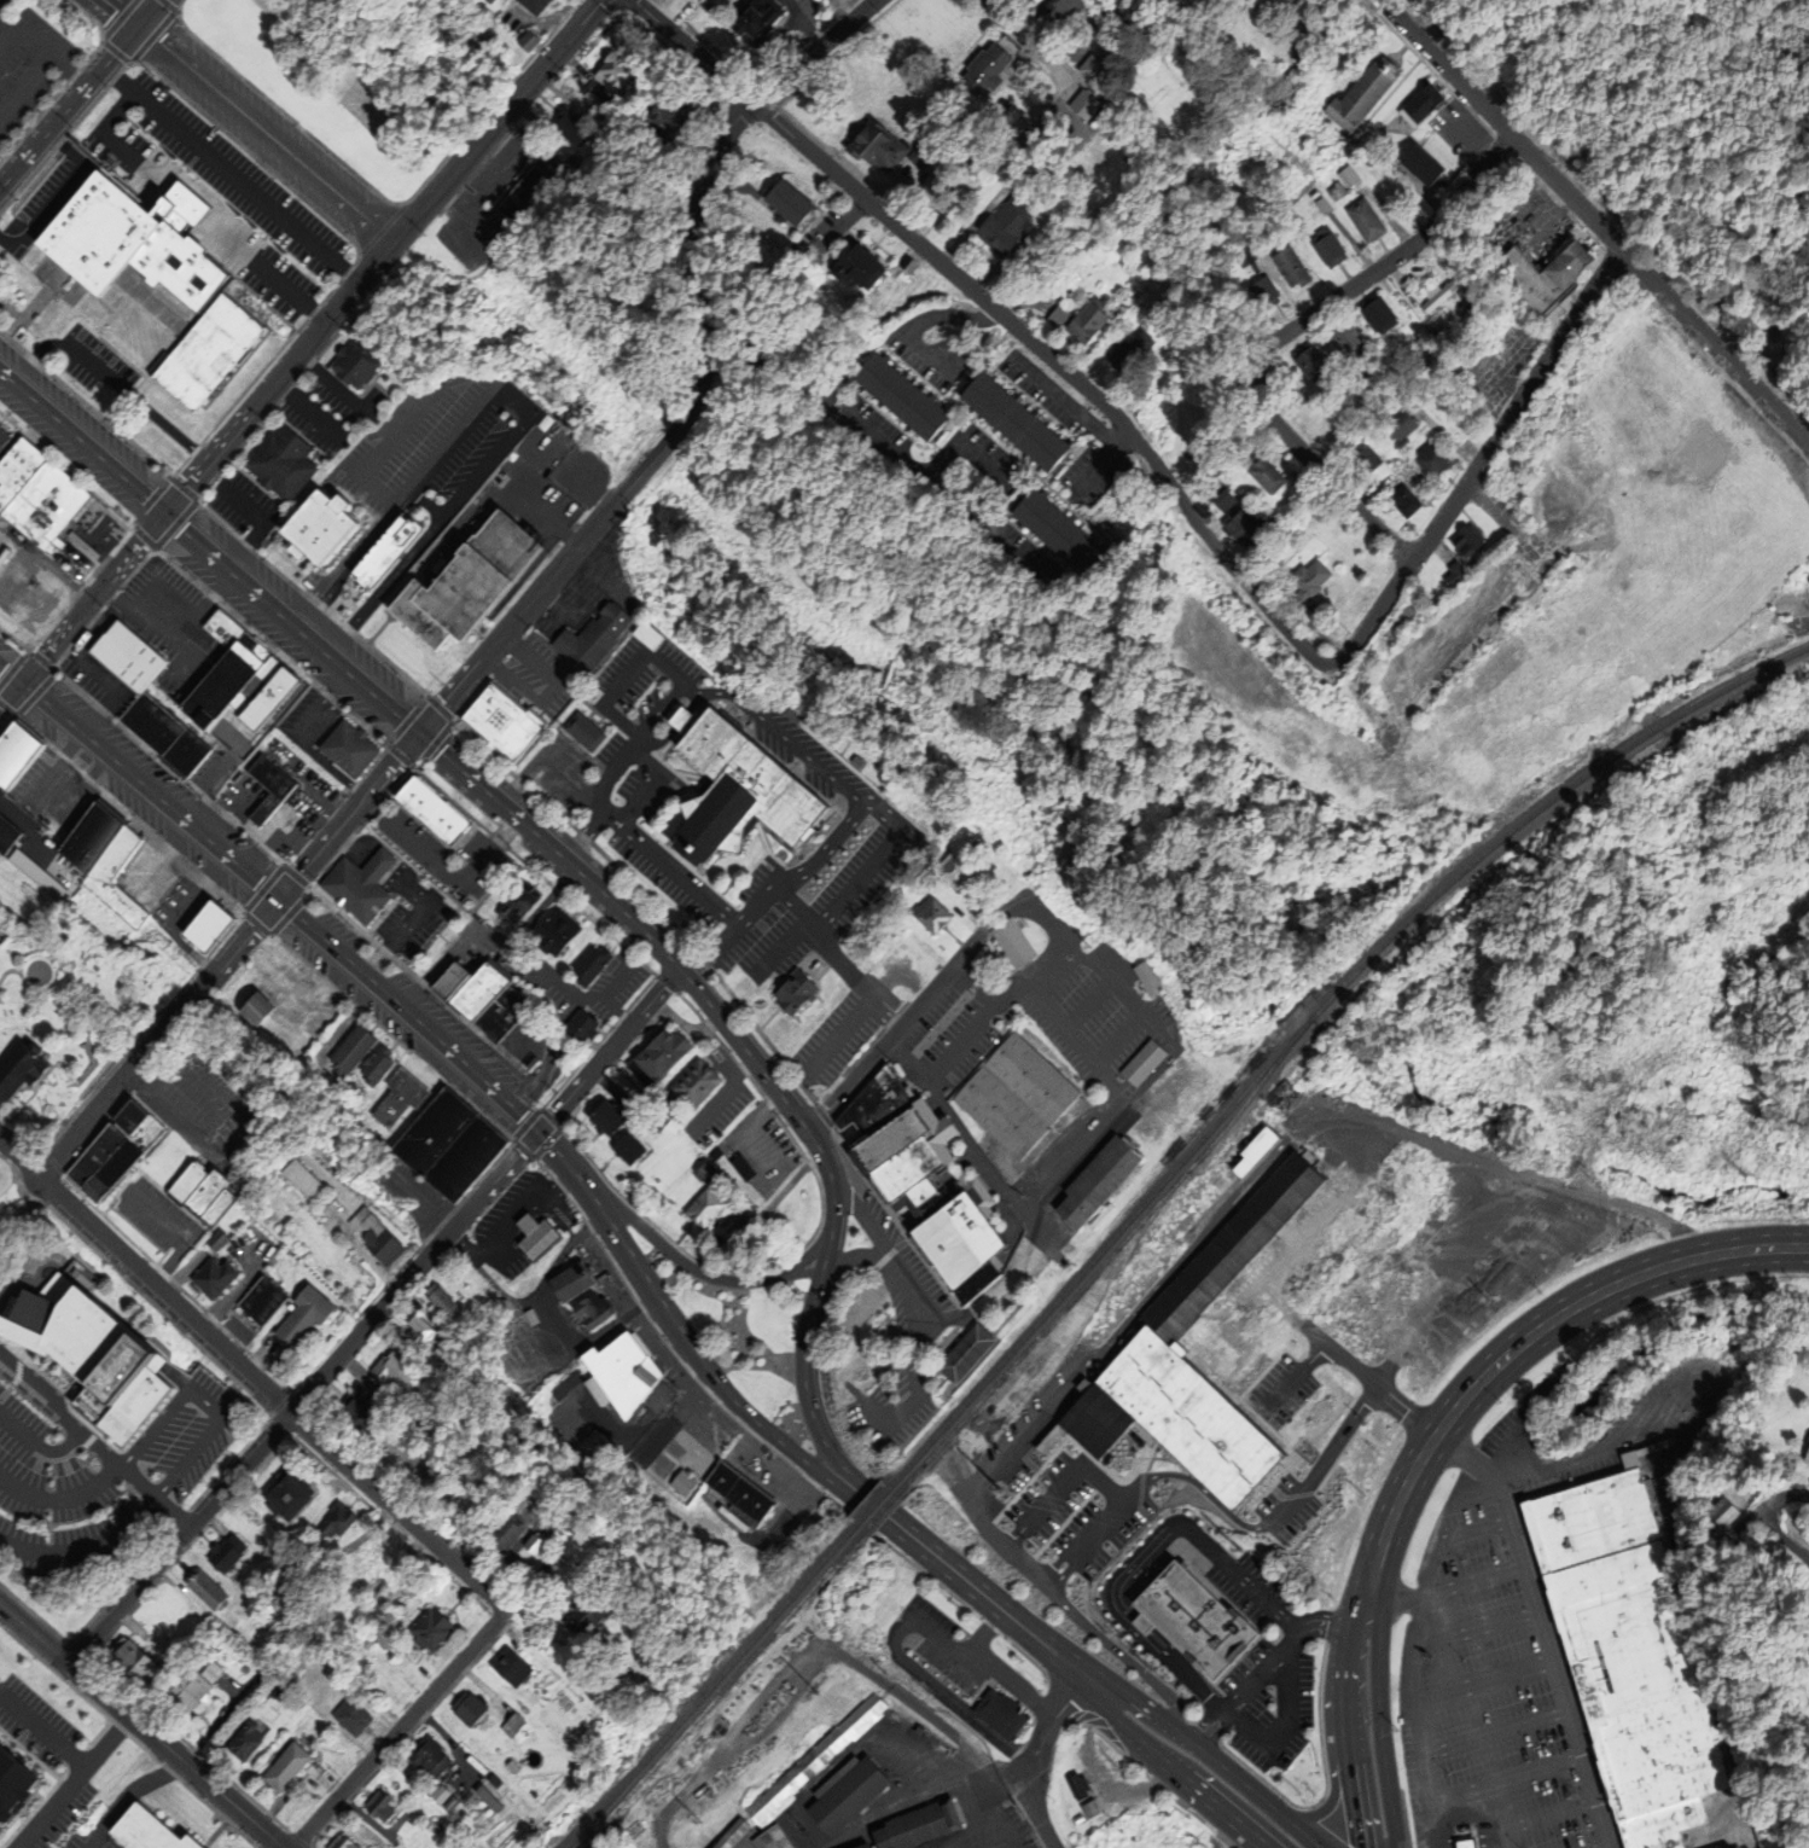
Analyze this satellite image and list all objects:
parking lot: (1, 1)
building: (527, 6)
building: (1060, 8)
building: (752, 22)
traffic signals: (135, 30)
road: (1, 36)
road: (1023, 39)
building: (523, 41)
road: (809, 51)
road: (41, 52)
parking lot: (27, 65)
building: (612, 66)
building: (983, 68)
building: (1088, 71)
road: (23, 82)
road: (80, 92)
building: (1360, 93)
building: (1418, 106)
building: (665, 107)
road: (495, 120)
road: (244, 121)
road: (1499, 124)
building: (565, 127)
building: (872, 149)
building: (1417, 167)
road: (229, 175)
road: (57, 194)
parking lot: (215, 196)
building: (518, 196)
parking lot: (45, 199)
building: (781, 201)
road: (191, 211)
building: (1361, 221)
building: (1000, 226)
building: (128, 243)
building: (1324, 250)
road: (1386, 262)
building: (853, 266)
building: (1287, 269)
building: (1537, 277)
road: (130, 284)
building: (1260, 295)
building: (1373, 315)
road: (1000, 316)
building: (1081, 322)
building: (1342, 341)
road: (1712, 347)
road: (35, 350)
building: (205, 351)
road: (71, 354)
building: (1123, 354)
building: (349, 362)
building: (1307, 365)
parking lot: (98, 371)
road: (97, 372)
road: (278, 377)
building: (896, 395)
building: (1008, 420)
road: (164, 426)
building: (1395, 426)
building: (4, 441)
road: (659, 447)
road: (880, 451)
building: (1359, 453)
building: (278, 459)
building: (1426, 460)
road: (1473, 463)
road: (1322, 472)
building: (1258, 473)
building: (19, 476)
building: (1217, 499)
building: (1401, 501)
building: (48, 509)
road: (389, 511)
traffic signals: (164, 512)
road: (263, 524)
building: (1238, 527)
building: (318, 528)
building: (1051, 530)
building: (1462, 539)
building: (384, 551)
building: (1450, 574)
building: (1305, 577)
building: (465, 583)
road: (93, 598)
building: (588, 630)
building: (644, 634)
building: (122, 644)
building: (221, 658)
building: (251, 679)
traffic signals: (22, 685)
road: (11, 697)
building: (267, 697)
building: (499, 713)
building: (151, 722)
building: (580, 730)
traffic signals: (415, 733)
road: (420, 737)
building: (12, 738)
building: (347, 739)
road: (789, 739)
building: (185, 752)
road: (547, 762)
building: (725, 778)
building: (267, 789)
building: (426, 800)
road: (347, 815)
building: (81, 824)
building: (6, 836)
building: (13, 859)
building: (106, 866)
road: (450, 867)
building: (948, 868)
road: (668, 870)
building: (355, 877)
road: (273, 894)
traffic signals: (278, 899)
building: (519, 905)
building: (924, 914)
building: (208, 926)
building: (556, 934)
building: (1014, 945)
building: (591, 966)
road: (1025, 974)
building: (1147, 980)
building: (450, 981)
building: (240, 989)
building: (476, 989)
building: (790, 990)
road: (1127, 994)
road: (1088, 1005)
building: (255, 1013)
building: (502, 1013)
railway: (1307, 1018)
building: (580, 1029)
parking lot: (840, 1030)
road: (838, 1031)
road: (889, 1035)
road: (157, 1036)
building: (295, 1044)
building: (348, 1048)
road: (605, 1051)
building: (659, 1058)
building: (1145, 1064)
building: (372, 1065)
building: (17, 1068)
building: (694, 1086)
building: (395, 1097)
building: (1018, 1098)
building: (659, 1115)
building: (606, 1120)
building: (432, 1132)
traffic signals: (536, 1132)
road: (547, 1143)
road: (969, 1143)
building: (628, 1150)
building: (114, 1152)
building: (464, 1158)
road: (1069, 1162)
building: (744, 1169)
building: (295, 1172)
building: (706, 1174)
building: (181, 1182)
building: (924, 1182)
building: (1099, 1182)
building: (199, 1193)
road: (830, 1199)
building: (213, 1208)
building: (704, 1211)
building: (530, 1224)
building: (373, 1233)
building: (210, 1239)
road: (882, 1249)
railway: (1101, 1265)
building: (209, 1266)
road: (686, 1267)
road: (793, 1277)
building: (568, 1282)
building: (435, 1289)
building: (256, 1291)
building: (437, 1301)
building: (297, 1304)
building: (587, 1308)
building: (414, 1325)
building: (1216, 1331)
river: (1660, 1336)
building: (966, 1354)
road: (912, 1356)
building: (91, 1358)
road: (699, 1360)
building: (617, 1362)
building: (390, 1365)
road: (248, 1371)
road: (302, 1397)
road: (204, 1402)
building: (354, 1407)
road: (807, 1407)
road: (1438, 1434)
road: (37, 1445)
road: (94, 1445)
building: (1802, 1451)
building: (588, 1455)
building: (679, 1480)
building: (734, 1482)
building: (280, 1494)
road: (62, 1497)
road: (1792, 1497)
building: (465, 1507)
railway: (874, 1507)
building: (1716, 1511)
railway: (882, 1513)
building: (331, 1522)
road: (991, 1530)
road: (1471, 1532)
building: (500, 1533)
road: (1781, 1538)
building: (530, 1544)
road: (86, 1548)
building: (222, 1553)
road: (1234, 1571)
road: (1474, 1581)
building: (200, 1591)
road: (982, 1597)
parking lot: (1532, 1615)
building: (581, 1616)
building: (1188, 1619)
road: (1128, 1626)
road: (1485, 1627)
road: (1542, 1628)
building: (427, 1631)
river: (1495, 1631)
road: (1431, 1632)
building: (210, 1655)
building: (1633, 1657)
road: (1268, 1662)
building: (127, 1664)
building: (505, 1667)
building: (207, 1673)
road: (1488, 1680)
railway: (714, 1687)
building: (1808, 1689)
building: (273, 1690)
railway: (725, 1690)
building: (184, 1692)
road: (1144, 1707)
building: (464, 1709)
building: (995, 1714)
building: (349, 1718)
building: (510, 1725)
road: (1285, 1726)
road: (141, 1727)
road: (401, 1727)
road: (42, 1732)
road: (1494, 1733)
building: (239, 1739)
building: (425, 1755)
road: (1028, 1757)
building: (465, 1759)
building: (804, 1763)
road: (1167, 1765)
building: (281, 1767)
building: (502, 1767)
road: (1424, 1772)
road: (1503, 1779)
building: (491, 1780)
road: (71, 1782)
building: (13, 1786)
road: (1337, 1786)
building: (1074, 1788)
building: (839, 1794)
building: (437, 1795)
road: (130, 1798)
building: (484, 1800)
road: (1261, 1801)
building: (448, 1805)
building: (377, 1806)
building: (1089, 1808)
road: (1542, 1818)
road: (1472, 1821)
building: (912, 1825)
building: (0, 1832)
building: (150, 1834)
building: (726, 1834)
road: (1225, 1834)
road: (1431, 1836)
building: (766, 1838)
building: (339, 1843)
building: (1466, 1844)
building: (859, 1846)

